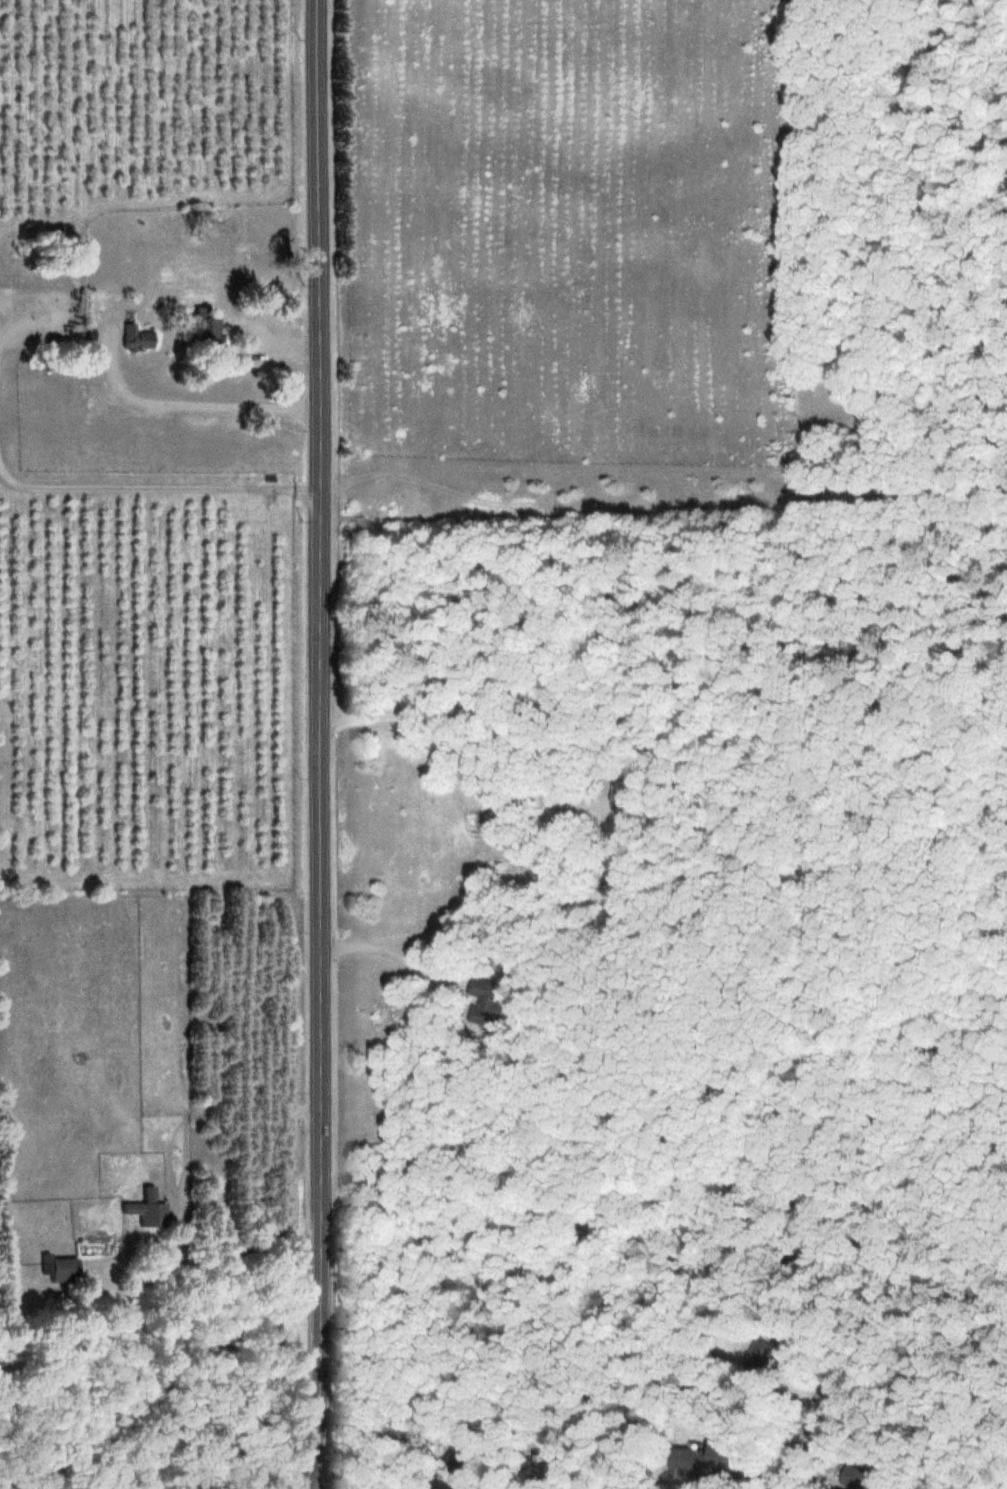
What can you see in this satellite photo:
building: (204, 325)
building: (136, 336)
road: (661, 707)
road: (315, 745)
building: (492, 1001)
building: (147, 1206)
building: (61, 1265)
building: (769, 1348)
road: (804, 1436)
building: (730, 1452)

